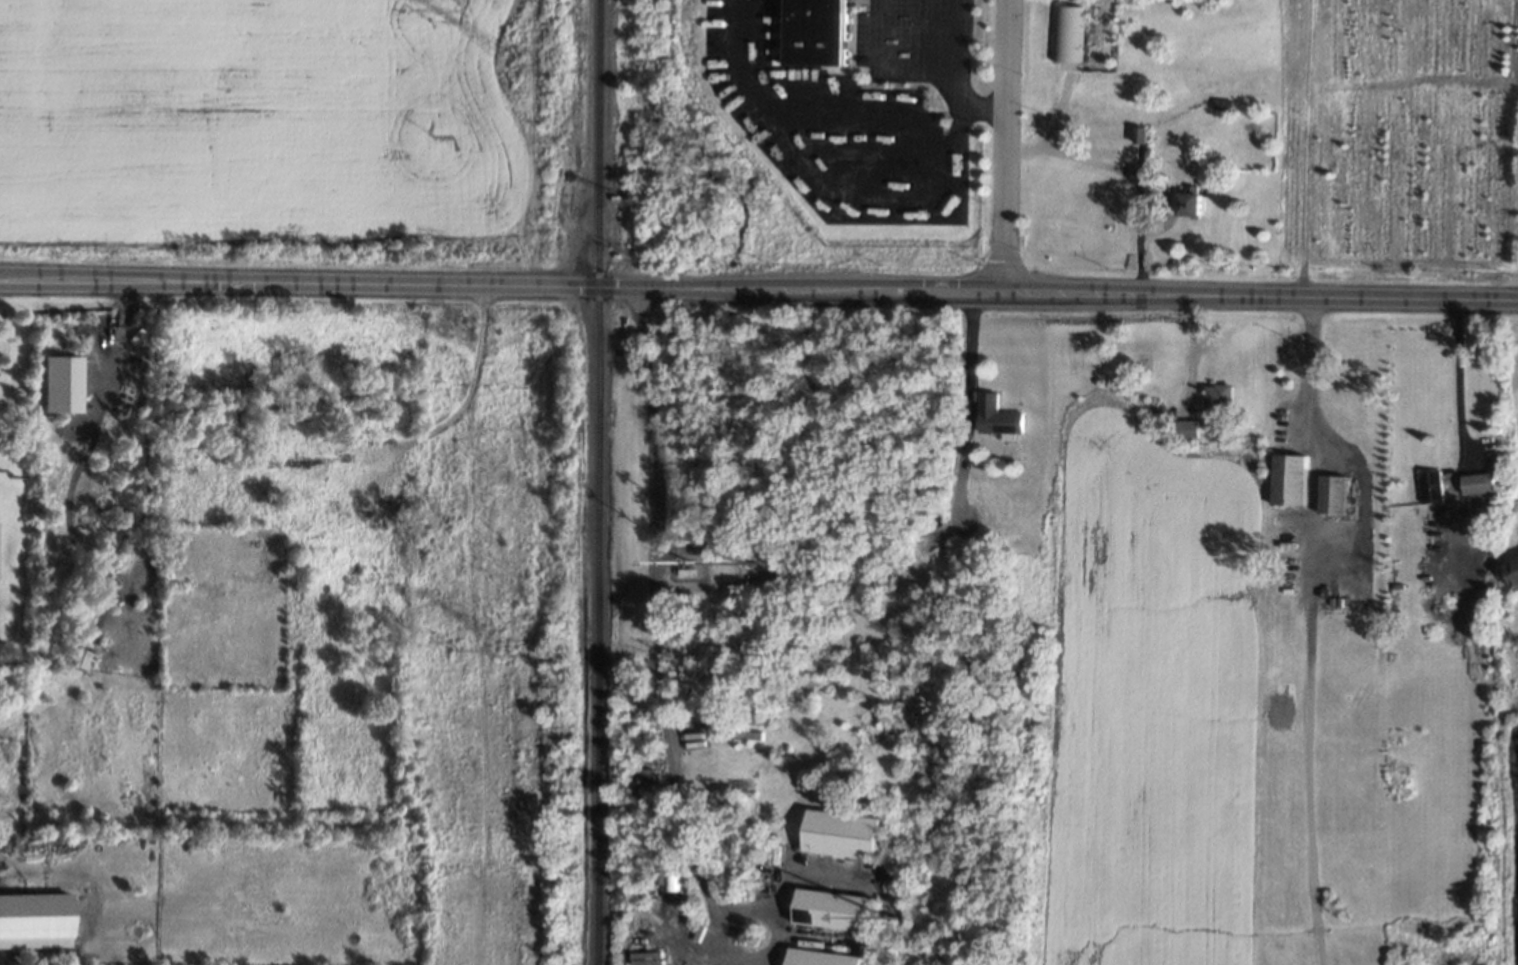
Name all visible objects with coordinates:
building: (820, 31)
building: (1070, 33)
power tower: (502, 56)
road: (934, 77)
crop: (232, 115)
crop: (1403, 126)
building: (1141, 134)
road: (1004, 146)
road: (1127, 175)
building: (1192, 203)
power tower: (457, 246)
road: (759, 290)
road: (116, 342)
road: (1457, 383)
building: (61, 384)
building: (1221, 397)
road: (963, 407)
building: (1000, 417)
building: (1188, 427)
building: (1292, 478)
railway: (599, 482)
building: (1481, 483)
building: (1433, 487)
building: (1335, 493)
building: (1516, 568)
road: (660, 629)
crop: (1243, 642)
power tower: (455, 647)
power tower: (502, 648)
building: (79, 656)
building: (845, 835)
building: (834, 909)
building: (35, 920)
building: (825, 958)

